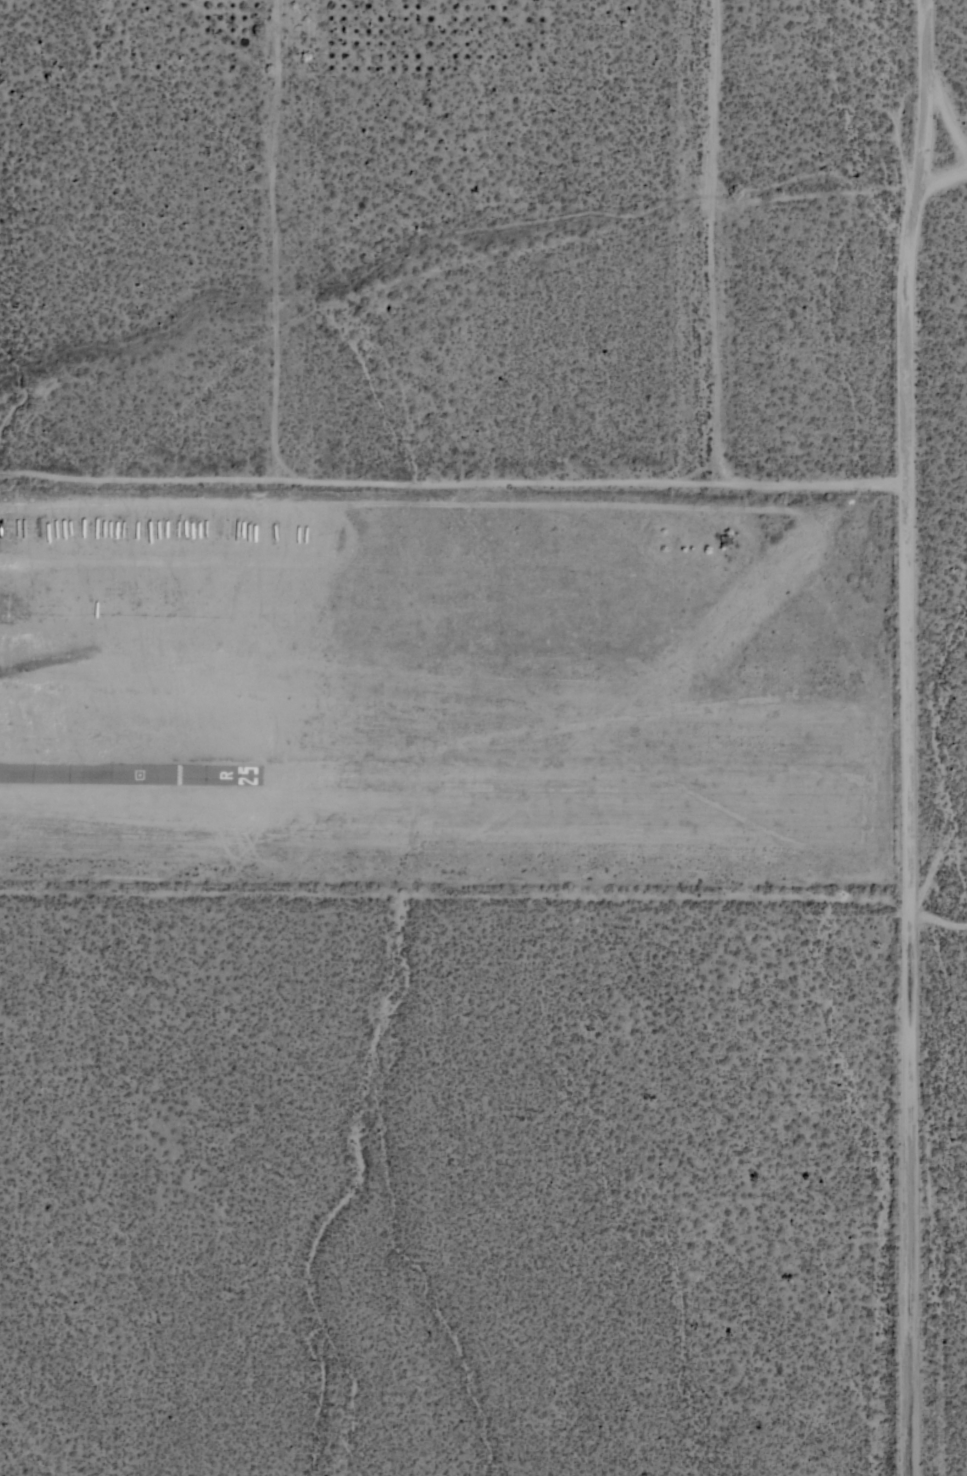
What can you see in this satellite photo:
road: (944, 178)
road: (279, 239)
road: (713, 240)
road: (454, 480)
airport: (451, 686)
road: (912, 737)
airport runway: (126, 773)
airport apron: (135, 777)
road: (940, 911)

